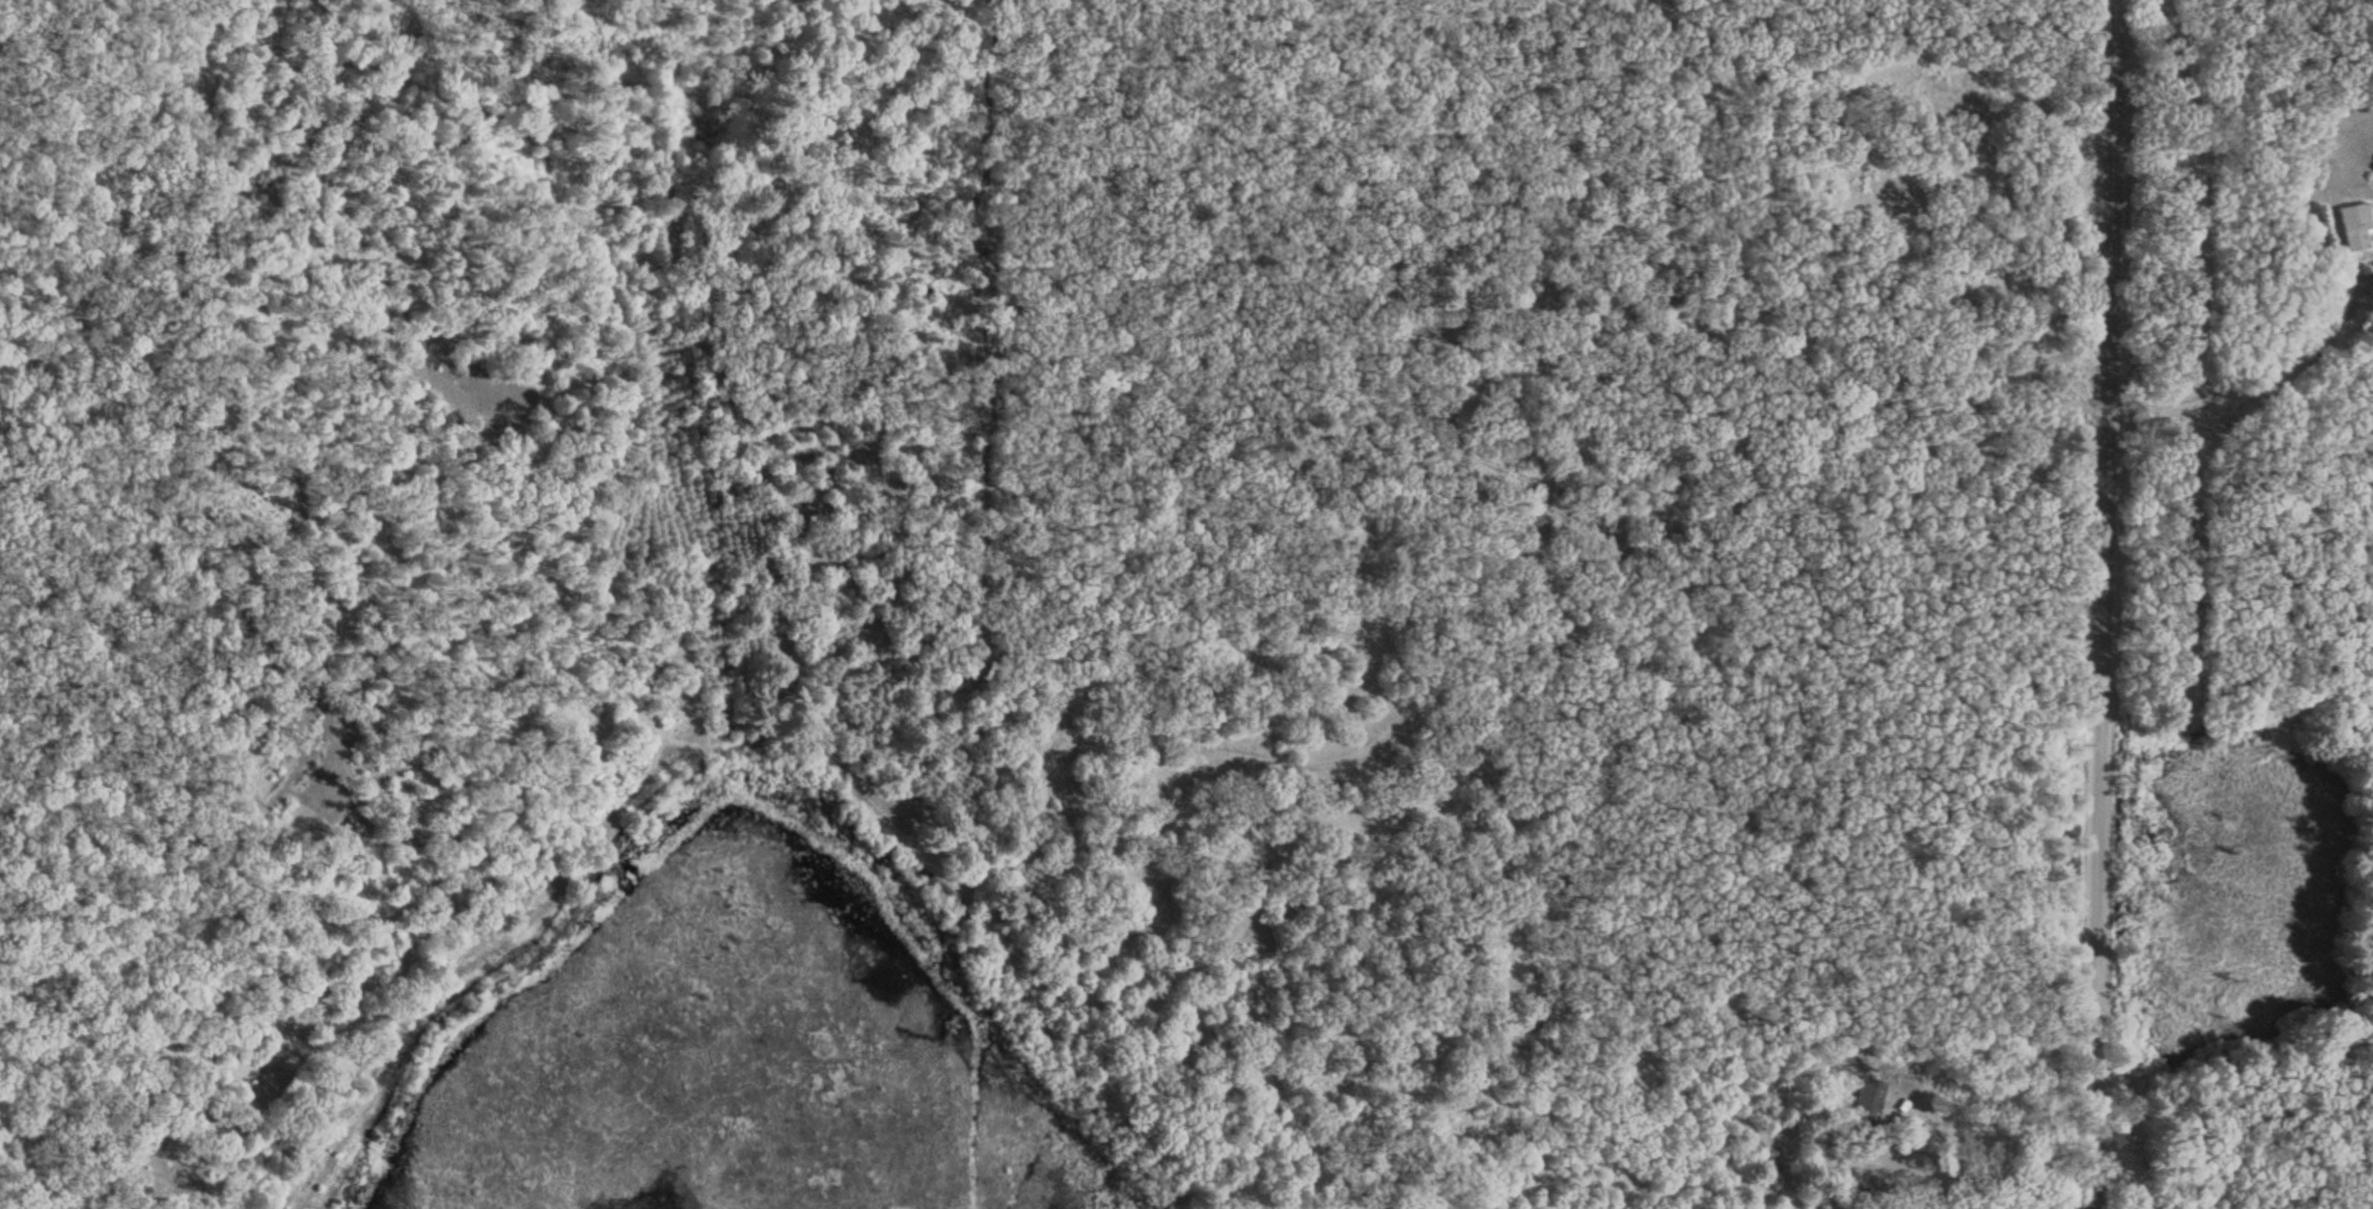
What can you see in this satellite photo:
building: (2354, 231)
road: (2241, 378)
road: (2090, 603)
building: (1901, 1174)

